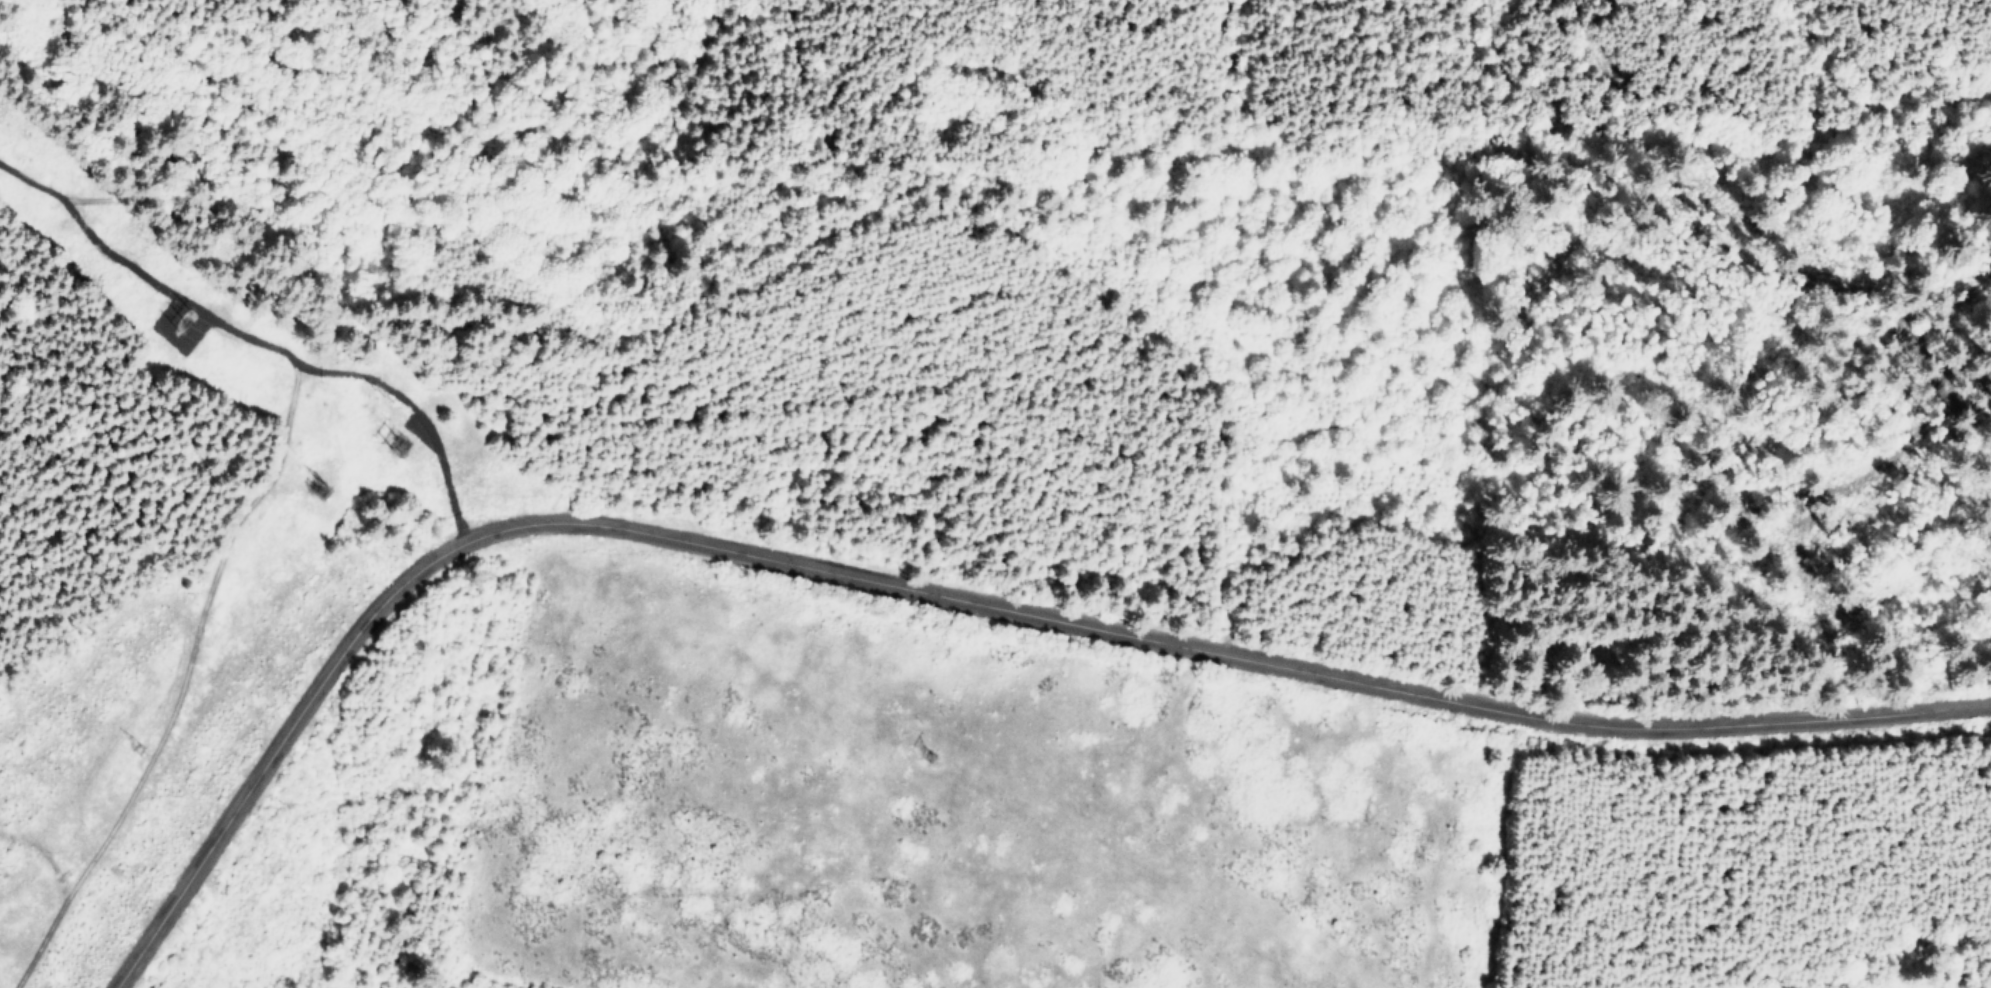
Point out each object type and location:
power tower: (174, 310)
power tower: (387, 433)
road: (252, 518)
road: (940, 597)
power tower: (919, 747)
road: (46, 856)

